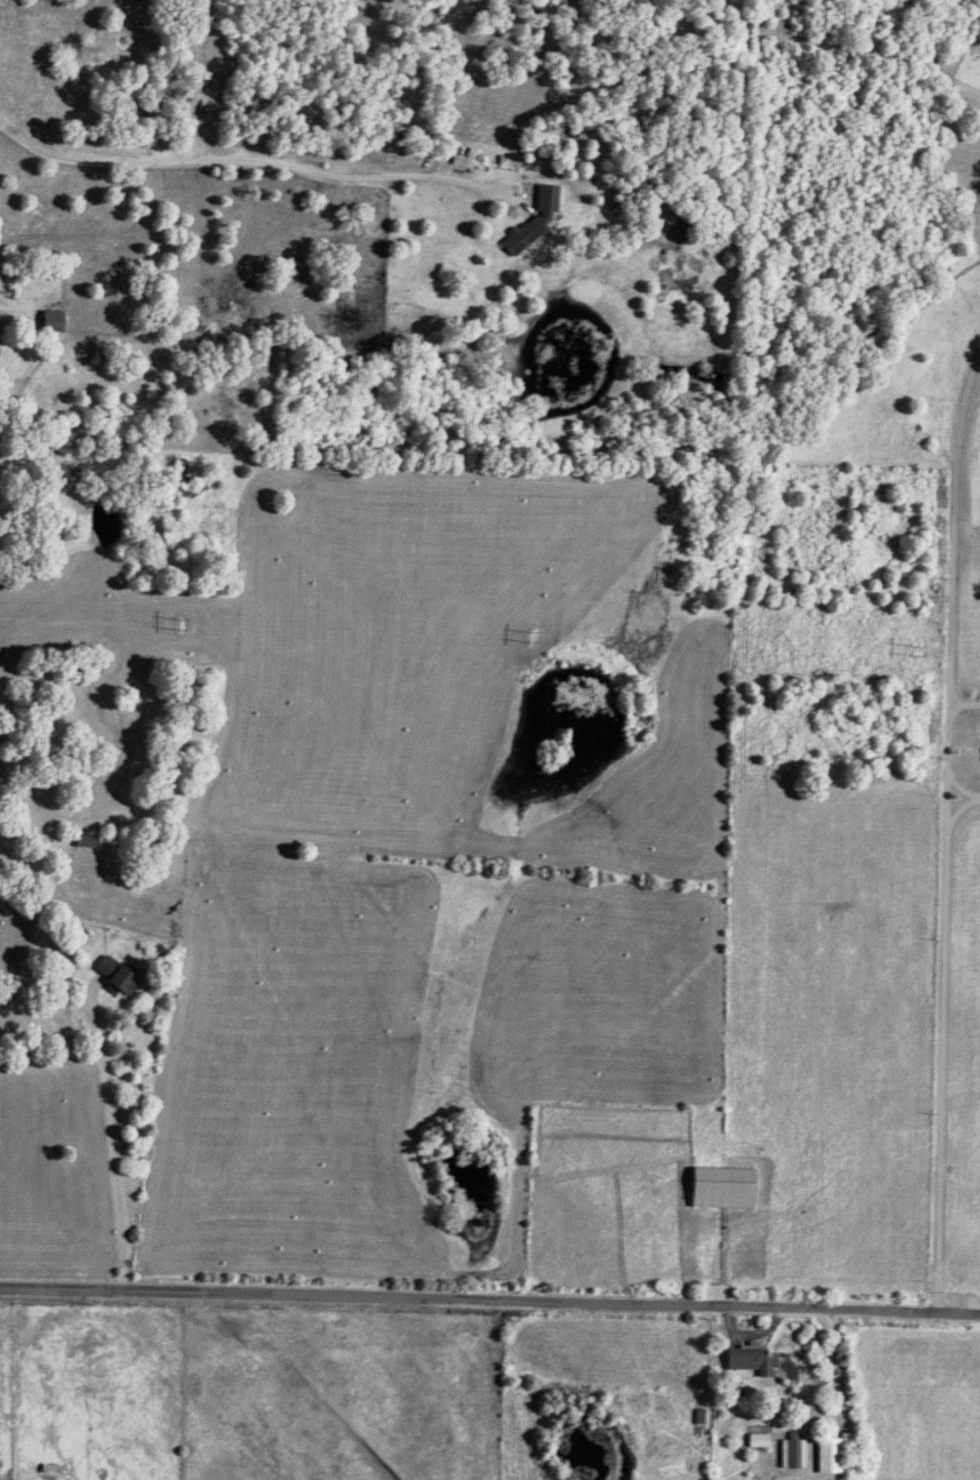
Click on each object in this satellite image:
road: (263, 163)
building: (549, 193)
building: (527, 231)
building: (55, 317)
building: (0, 322)
road: (952, 582)
power tower: (178, 626)
power tower: (529, 639)
power tower: (915, 654)
building: (88, 838)
building: (119, 972)
road: (942, 1046)
road: (112, 1143)
road: (490, 1298)

